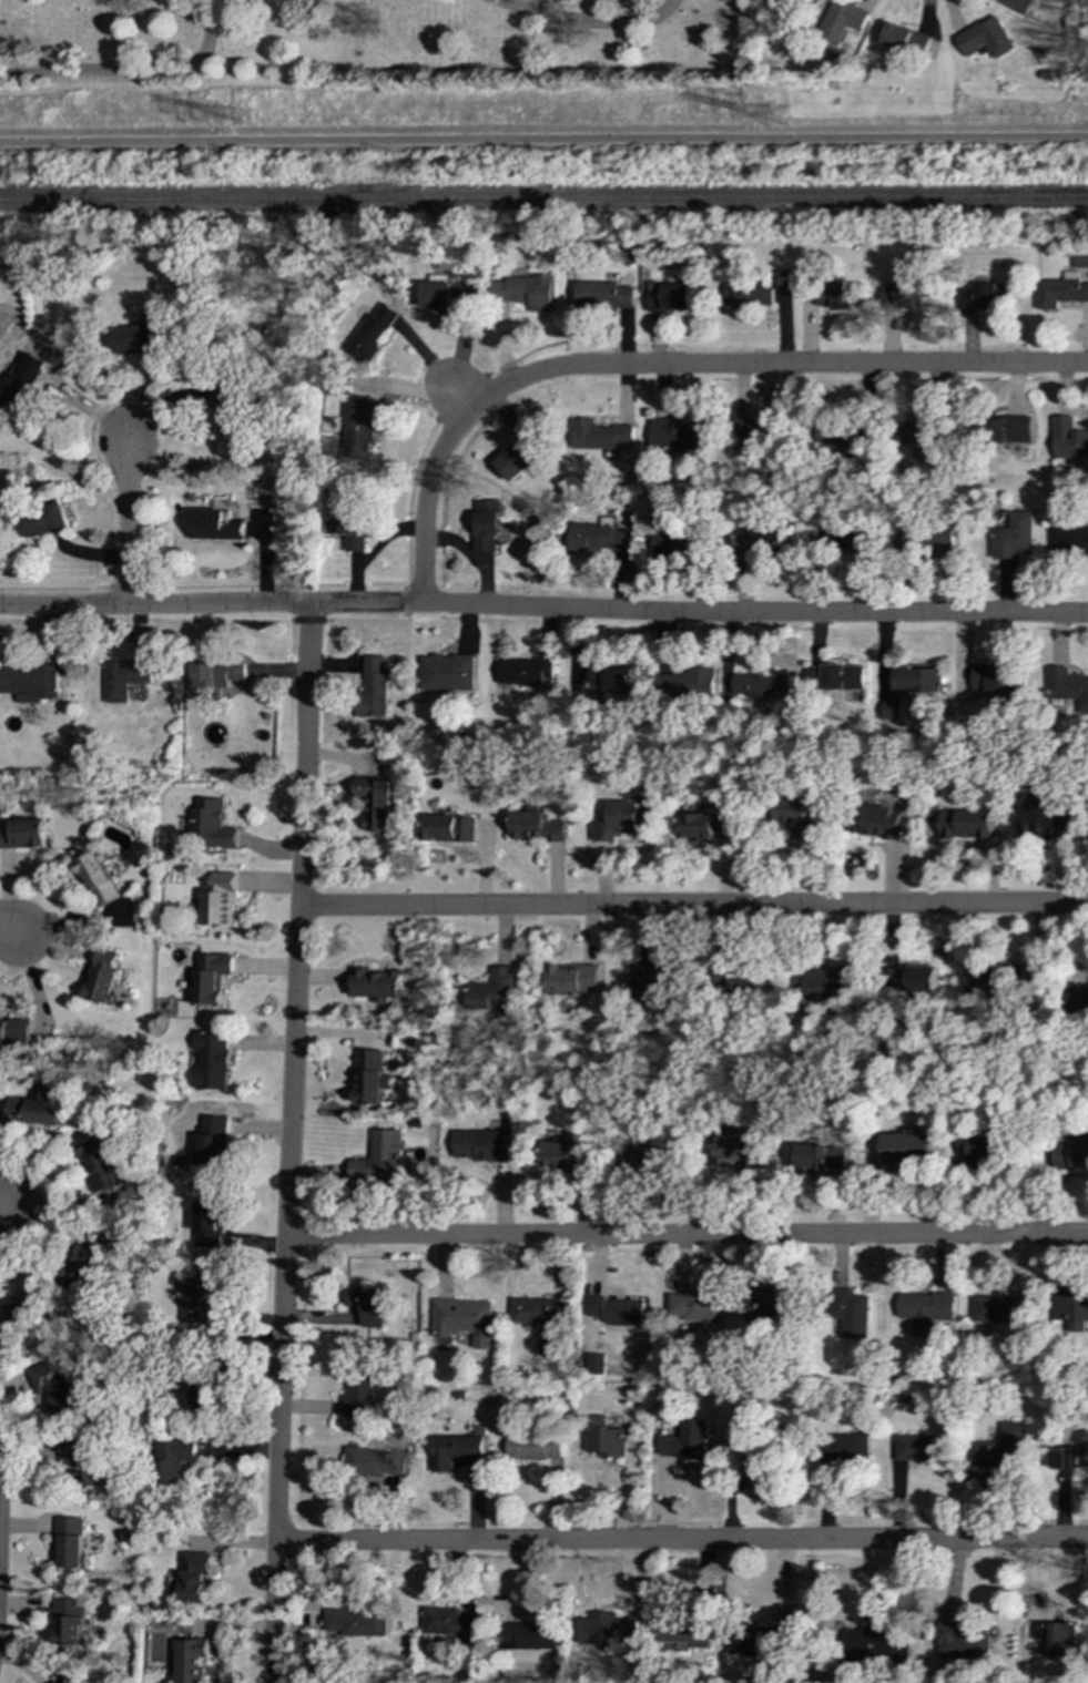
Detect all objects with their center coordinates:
building: (1017, 4)
road: (586, 21)
building: (842, 21)
building: (986, 38)
park: (1081, 40)
park: (386, 42)
road: (134, 74)
power tower: (780, 119)
power tower: (248, 121)
road: (543, 139)
railway: (543, 200)
building: (520, 290)
building: (1060, 290)
building: (822, 295)
building: (845, 295)
building: (902, 295)
building: (446, 296)
building: (602, 296)
building: (667, 296)
building: (982, 296)
building: (369, 333)
building: (139, 338)
road: (670, 367)
building: (21, 387)
road: (458, 396)
building: (224, 411)
building: (357, 427)
building: (754, 429)
building: (1009, 429)
building: (599, 435)
building: (674, 436)
building: (1067, 439)
building: (519, 456)
building: (38, 521)
road: (124, 522)
building: (212, 524)
building: (485, 524)
building: (346, 527)
building: (596, 537)
building: (1014, 537)
building: (853, 538)
building: (757, 541)
building: (940, 541)
building: (1069, 541)
building: (905, 542)
road: (154, 605)
road: (366, 605)
road: (754, 614)
building: (522, 671)
building: (445, 672)
building: (218, 675)
building: (611, 677)
building: (836, 677)
building: (124, 680)
building: (997, 680)
building: (29, 682)
building: (688, 683)
building: (762, 683)
building: (1068, 686)
building: (372, 687)
building: (893, 711)
building: (374, 803)
building: (622, 820)
building: (1044, 820)
building: (881, 823)
building: (967, 824)
building: (206, 825)
building: (705, 825)
building: (535, 826)
building: (447, 828)
building: (23, 834)
building: (98, 878)
building: (218, 899)
road: (692, 906)
road: (7, 930)
building: (103, 977)
building: (209, 977)
building: (740, 977)
building: (572, 978)
building: (913, 979)
building: (992, 981)
building: (375, 983)
building: (828, 983)
building: (655, 986)
building: (492, 990)
building: (1078, 994)
building: (3, 1030)
building: (211, 1060)
building: (369, 1077)
building: (210, 1139)
road: (288, 1143)
building: (481, 1145)
building: (906, 1146)
building: (739, 1147)
building: (979, 1147)
building: (1071, 1154)
building: (565, 1156)
building: (820, 1156)
building: (378, 1157)
building: (644, 1160)
building: (99, 1163)
road: (1, 1213)
building: (206, 1222)
road: (685, 1235)
building: (89, 1257)
building: (196, 1297)
building: (366, 1304)
building: (695, 1306)
building: (1000, 1308)
building: (617, 1309)
building: (538, 1310)
building: (924, 1312)
building: (1074, 1312)
building: (22, 1313)
building: (852, 1314)
building: (464, 1319)
building: (596, 1364)
building: (57, 1385)
building: (203, 1394)
building: (357, 1396)
building: (750, 1436)
building: (603, 1437)
building: (685, 1441)
building: (533, 1445)
building: (919, 1447)
building: (1001, 1447)
building: (453, 1450)
building: (1068, 1457)
building: (84, 1459)
building: (172, 1459)
building: (373, 1463)
building: (71, 1541)
road: (681, 1542)
building: (192, 1577)
building: (68, 1621)
building: (355, 1621)
building: (449, 1623)
building: (604, 1629)
building: (685, 1632)
building: (528, 1636)
building: (1057, 1638)
building: (754, 1639)
building: (960, 1641)
building: (872, 1645)
building: (189, 1660)
building: (67, 1679)

